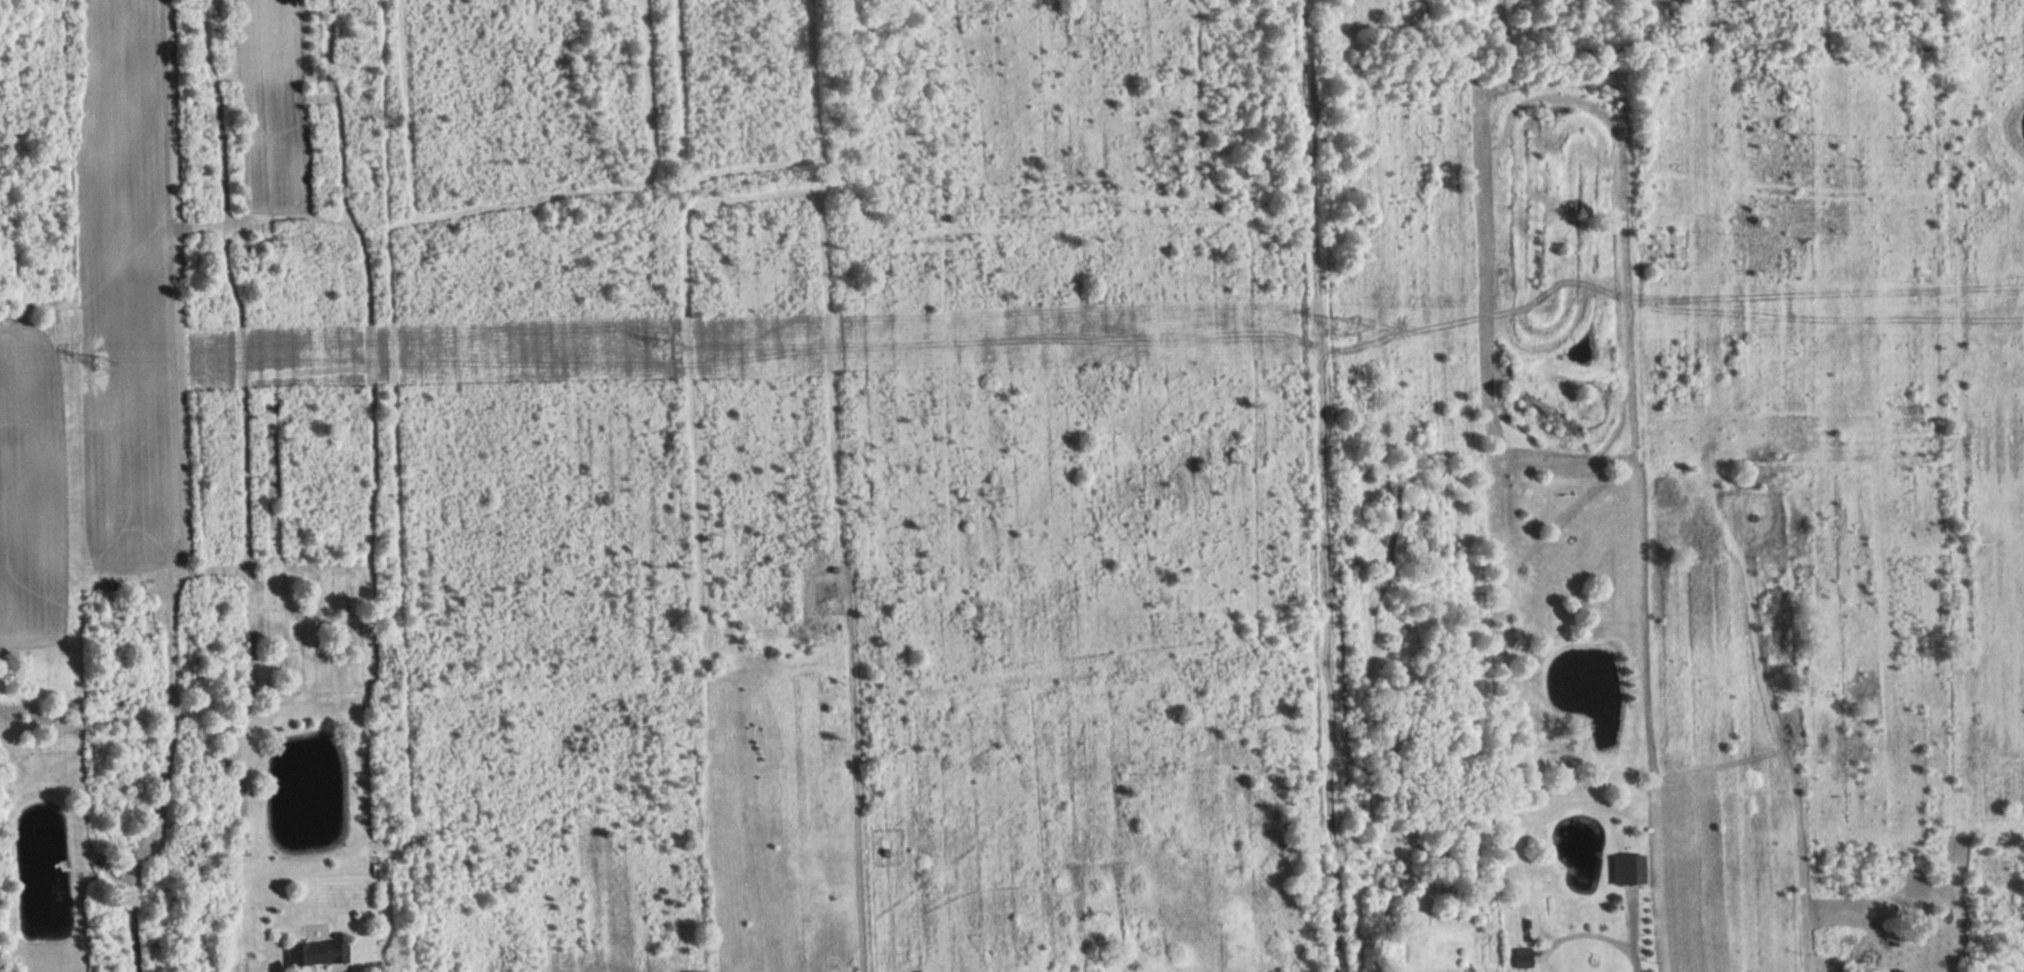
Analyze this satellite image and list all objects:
crop: (127, 285)
power tower: (1346, 332)
power tower: (671, 349)
power tower: (99, 364)
road: (1326, 486)
crop: (29, 493)
road: (875, 815)
building: (1626, 870)
building: (316, 953)
building: (1522, 958)

